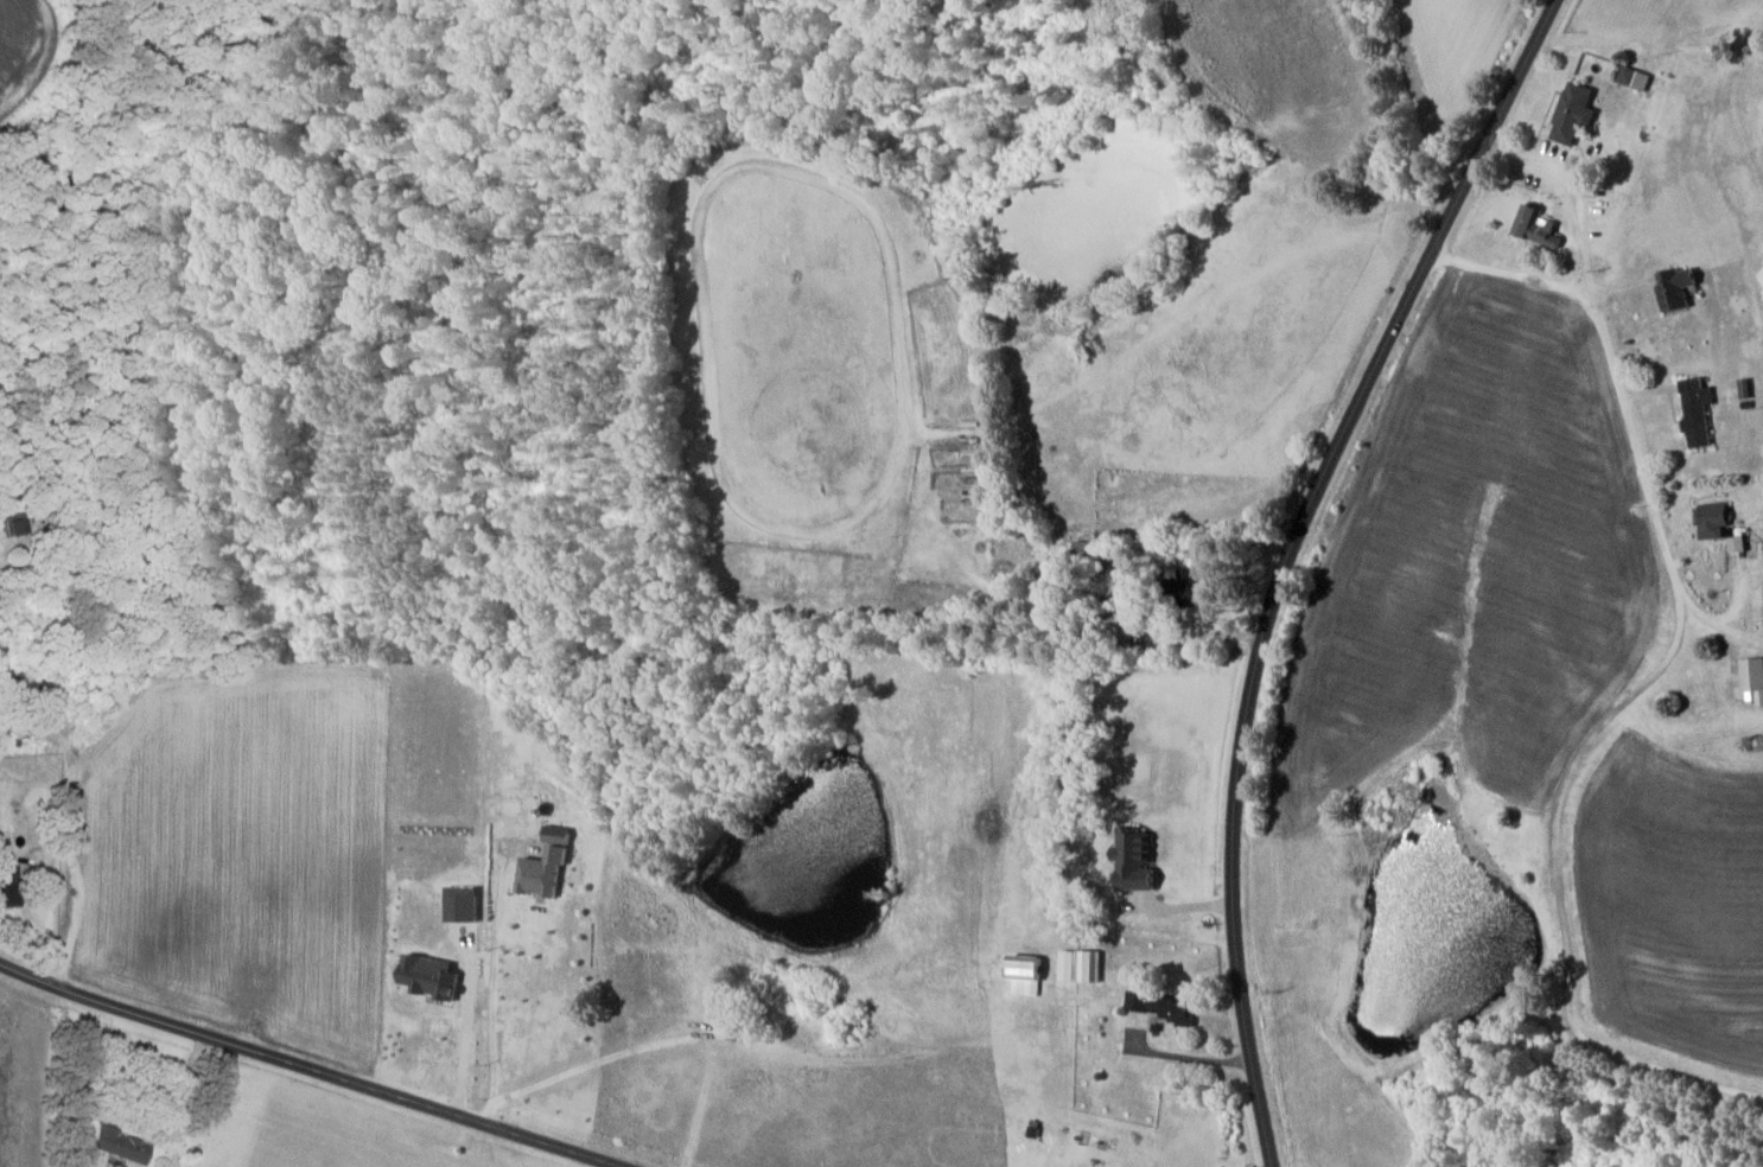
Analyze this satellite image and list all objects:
building: (1572, 113)
building: (1539, 225)
road: (1523, 278)
building: (1678, 287)
road: (1627, 391)
building: (1697, 413)
building: (1713, 519)
building: (14, 527)
building: (1738, 543)
road: (1285, 556)
building: (1195, 585)
building: (1754, 678)
building: (1137, 860)
building: (543, 872)
building: (7, 887)
road: (1559, 888)
building: (463, 904)
building: (1082, 967)
building: (1026, 975)
building: (431, 977)
road: (491, 995)
building: (1165, 1006)
building: (1145, 1020)
road: (464, 1041)
road: (1189, 1057)
road: (307, 1071)
road: (176, 1099)
building: (119, 1146)

